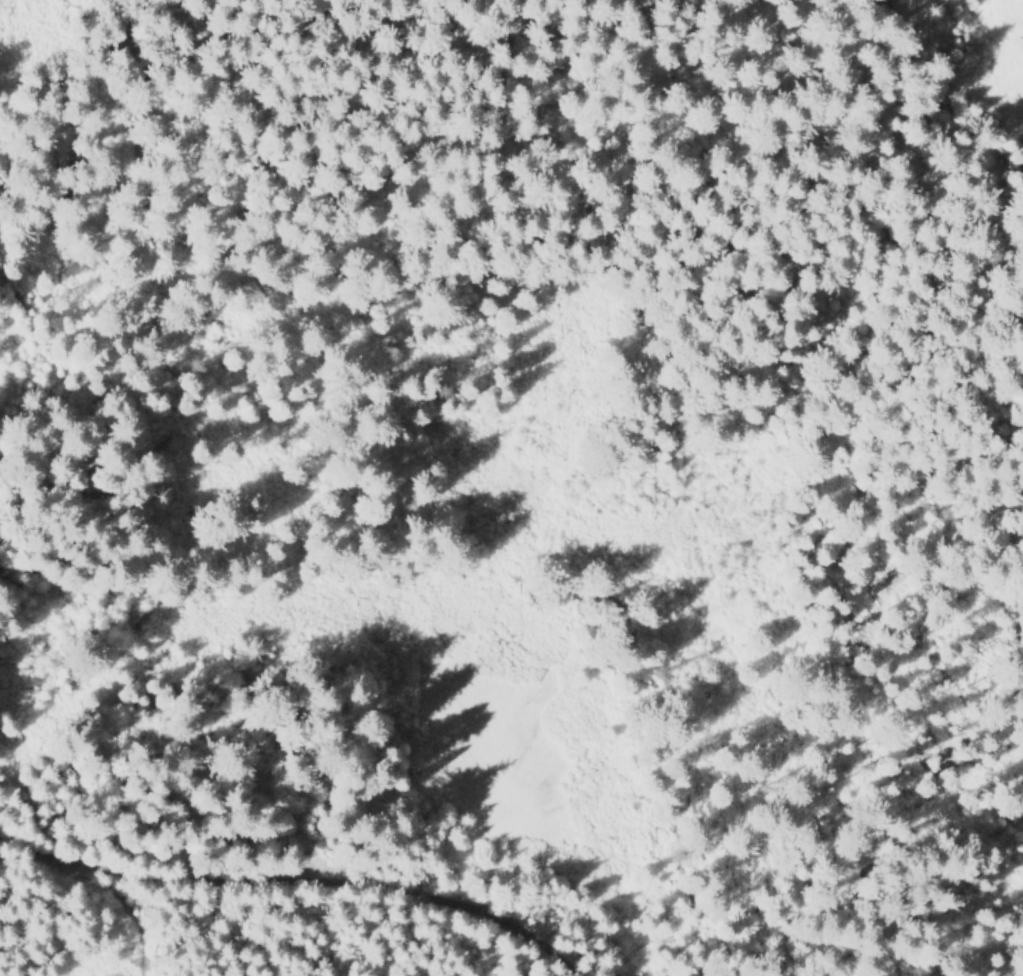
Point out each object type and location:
road: (299, 879)
road: (122, 904)

